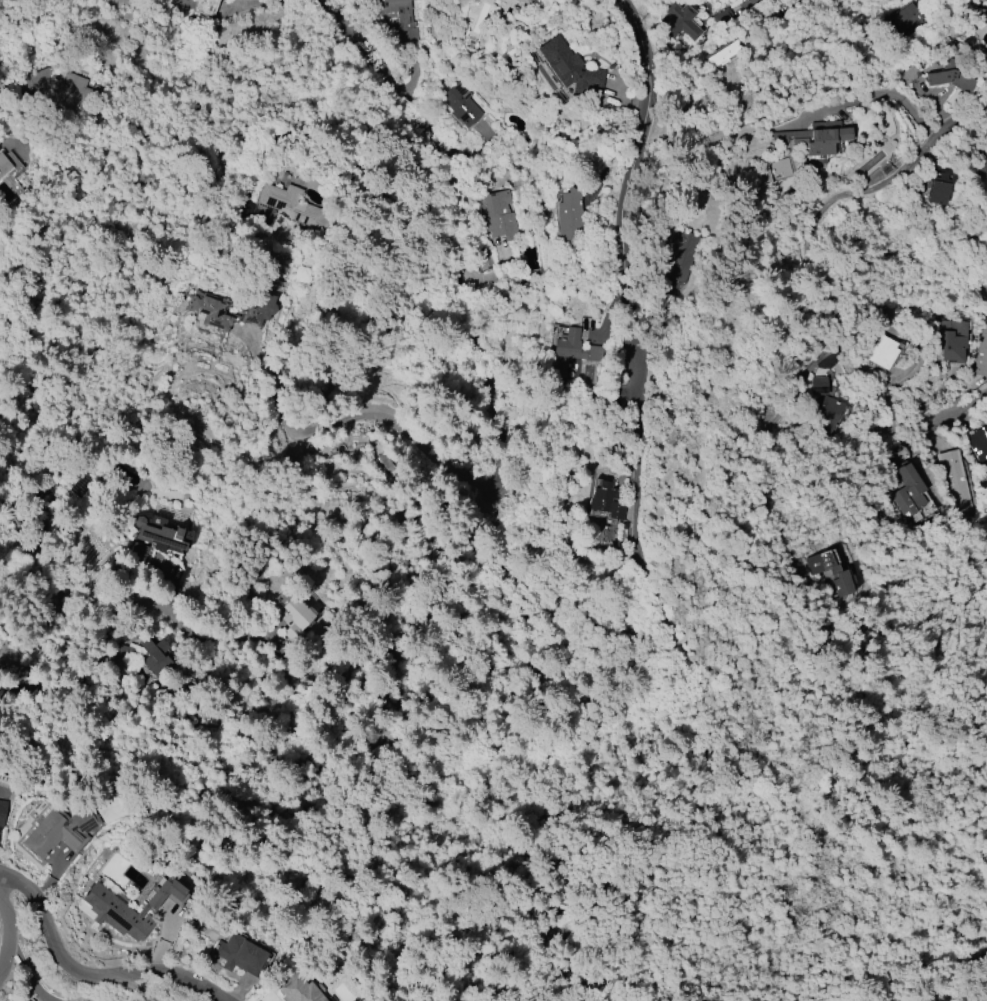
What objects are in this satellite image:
building: (524, 1)
building: (206, 7)
building: (973, 11)
building: (402, 18)
building: (903, 21)
building: (679, 22)
building: (723, 54)
building: (568, 66)
road: (389, 75)
building: (907, 76)
building: (950, 76)
building: (41, 77)
building: (64, 93)
building: (461, 104)
road: (967, 130)
building: (814, 140)
building: (981, 162)
building: (4, 166)
building: (776, 170)
building: (937, 189)
building: (288, 208)
building: (500, 216)
building: (569, 219)
building: (681, 251)
road: (814, 261)
road: (631, 271)
building: (983, 295)
building: (205, 311)
building: (950, 339)
building: (981, 351)
building: (570, 352)
building: (882, 352)
building: (817, 386)
road: (958, 409)
building: (825, 417)
building: (977, 444)
building: (954, 479)
building: (909, 490)
building: (606, 501)
building: (154, 540)
building: (841, 575)
building: (298, 619)
road: (118, 621)
building: (124, 653)
building: (157, 657)
road: (506, 769)
building: (2, 812)
building: (60, 831)
building: (122, 910)
road: (16, 924)
building: (239, 955)
road: (89, 969)
building: (300, 989)
building: (29, 1000)

